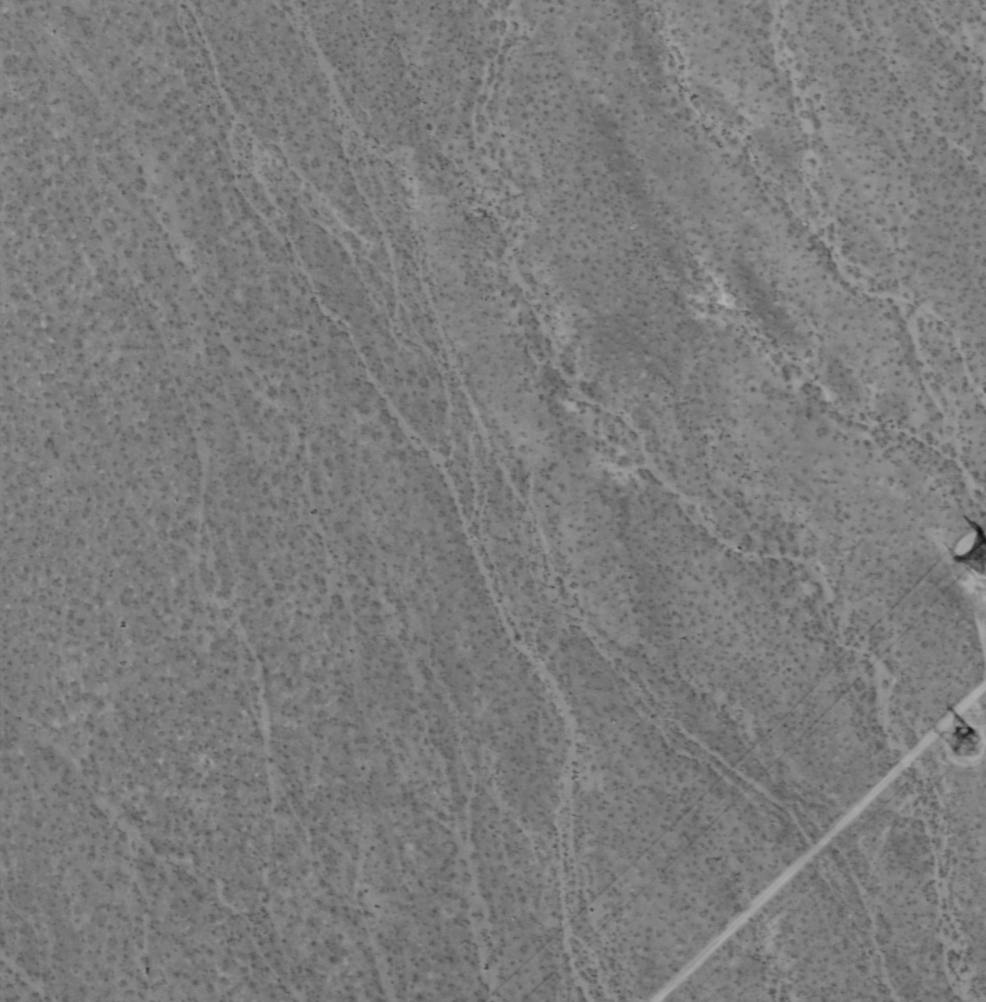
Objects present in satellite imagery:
power tower: (984, 557)
power tower: (973, 739)
road: (819, 842)

